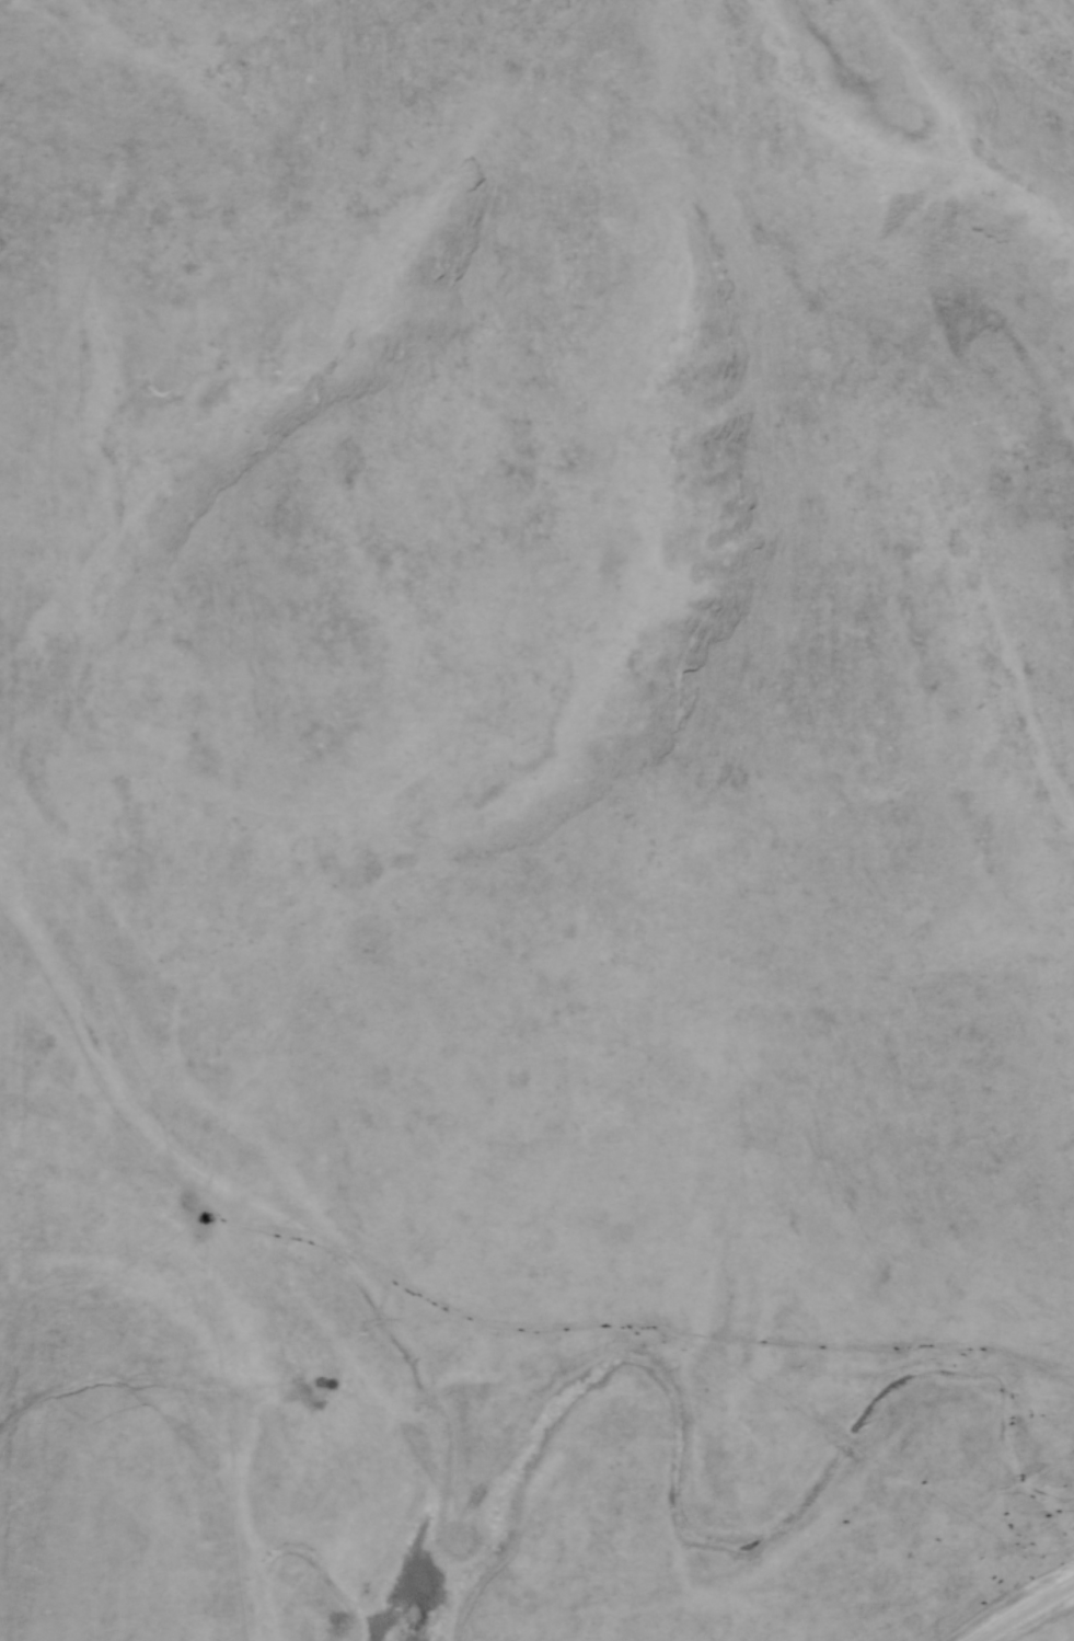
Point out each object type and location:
road: (1023, 1610)

